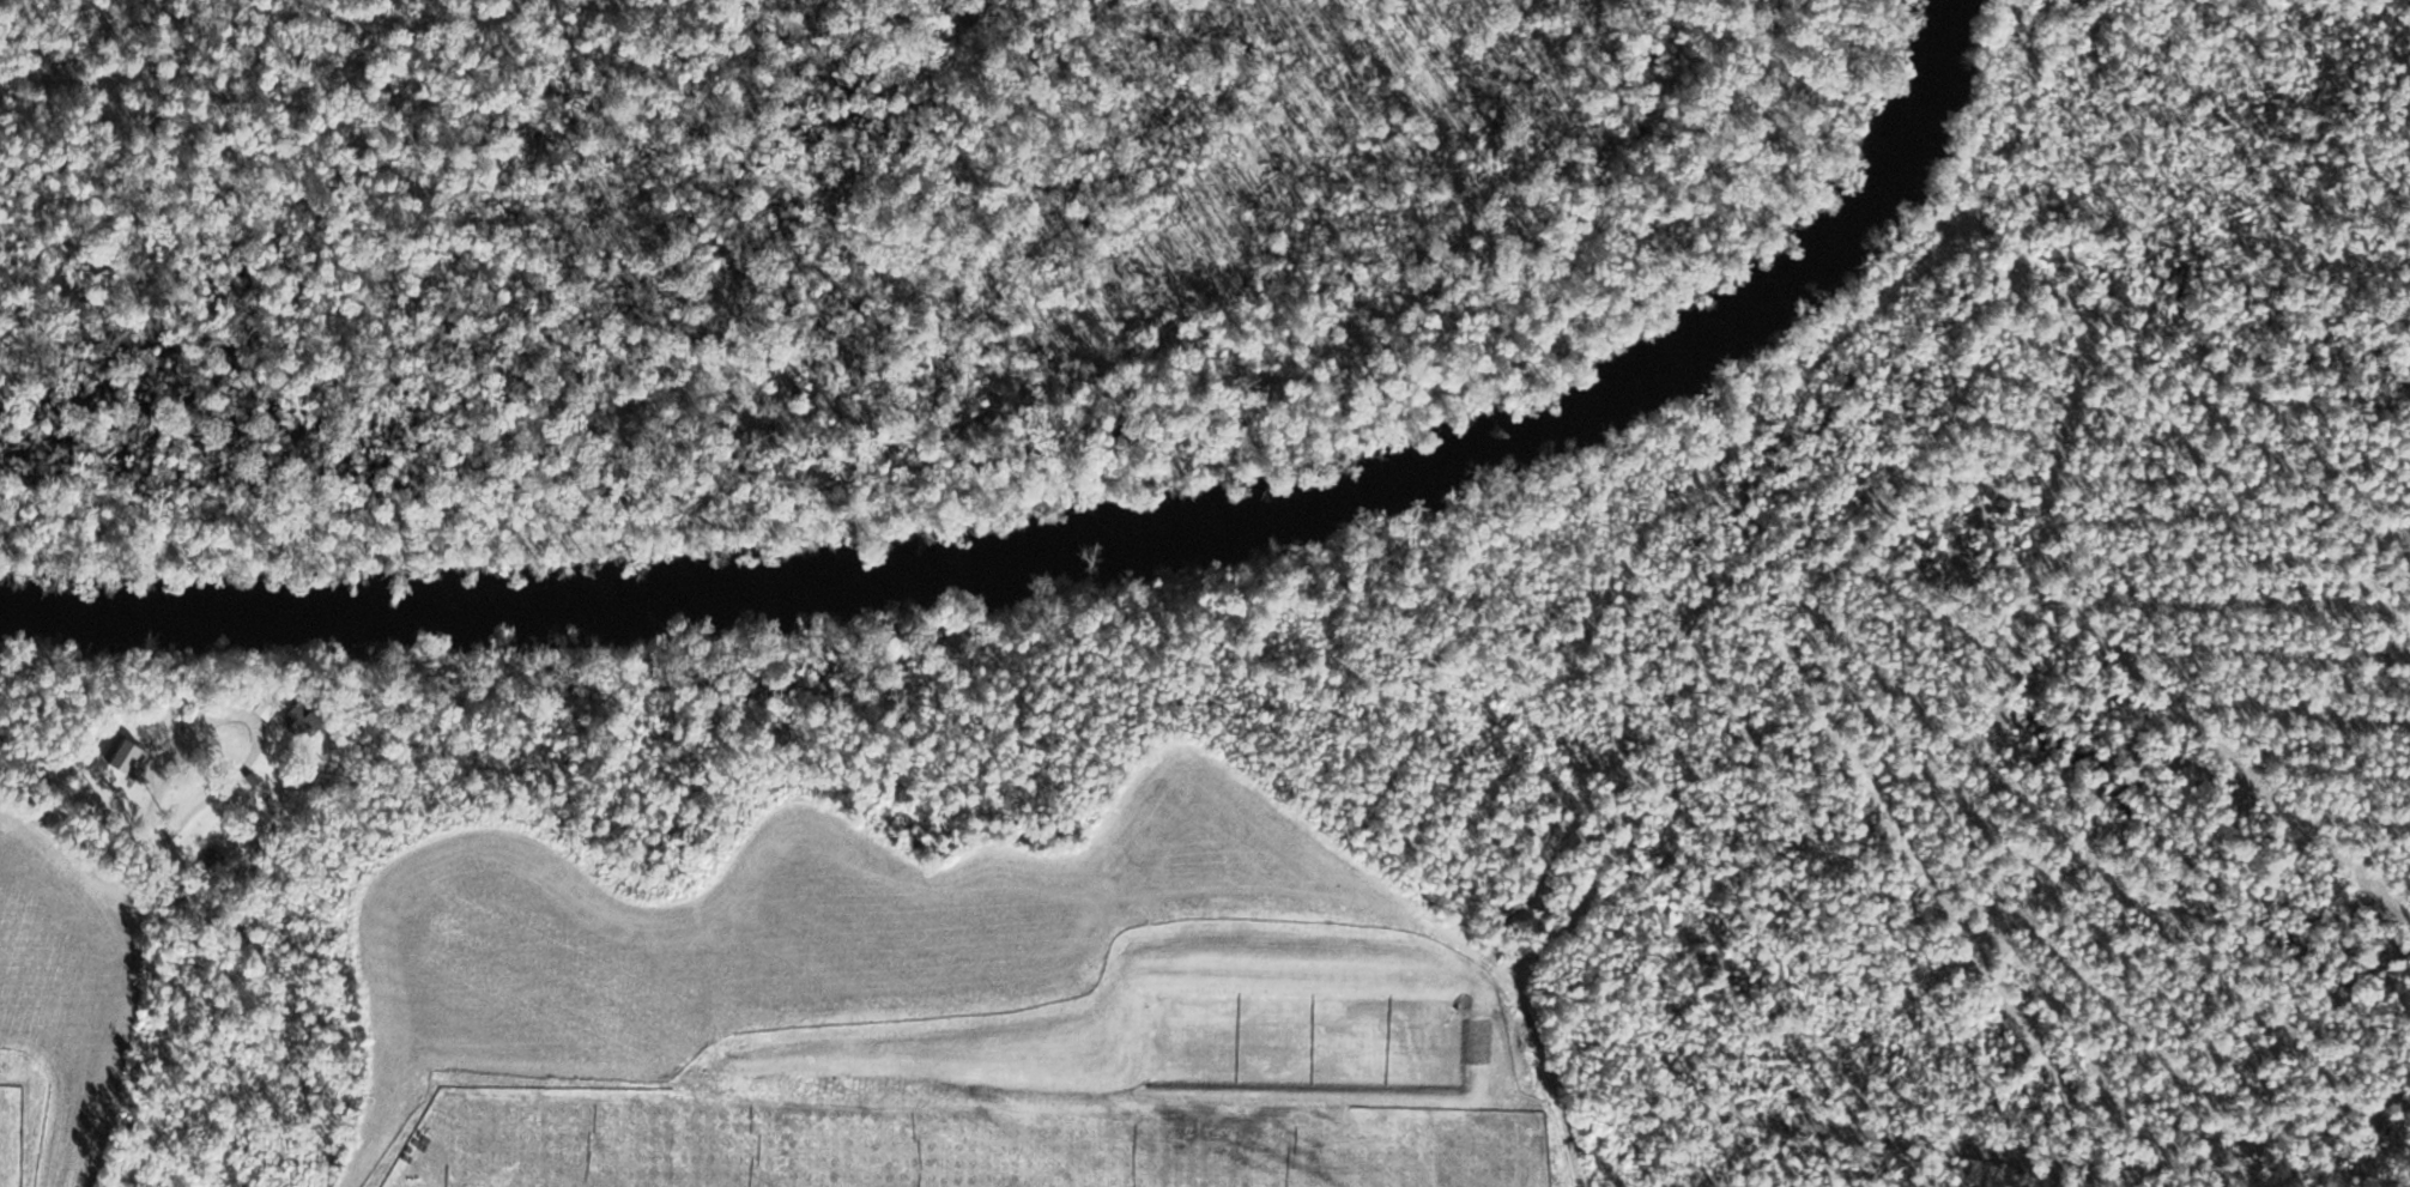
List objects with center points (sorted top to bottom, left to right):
airport: (825, 255)
river: (1086, 538)
building: (267, 707)
building: (310, 716)
building: (128, 755)
road: (61, 837)
building: (216, 856)

